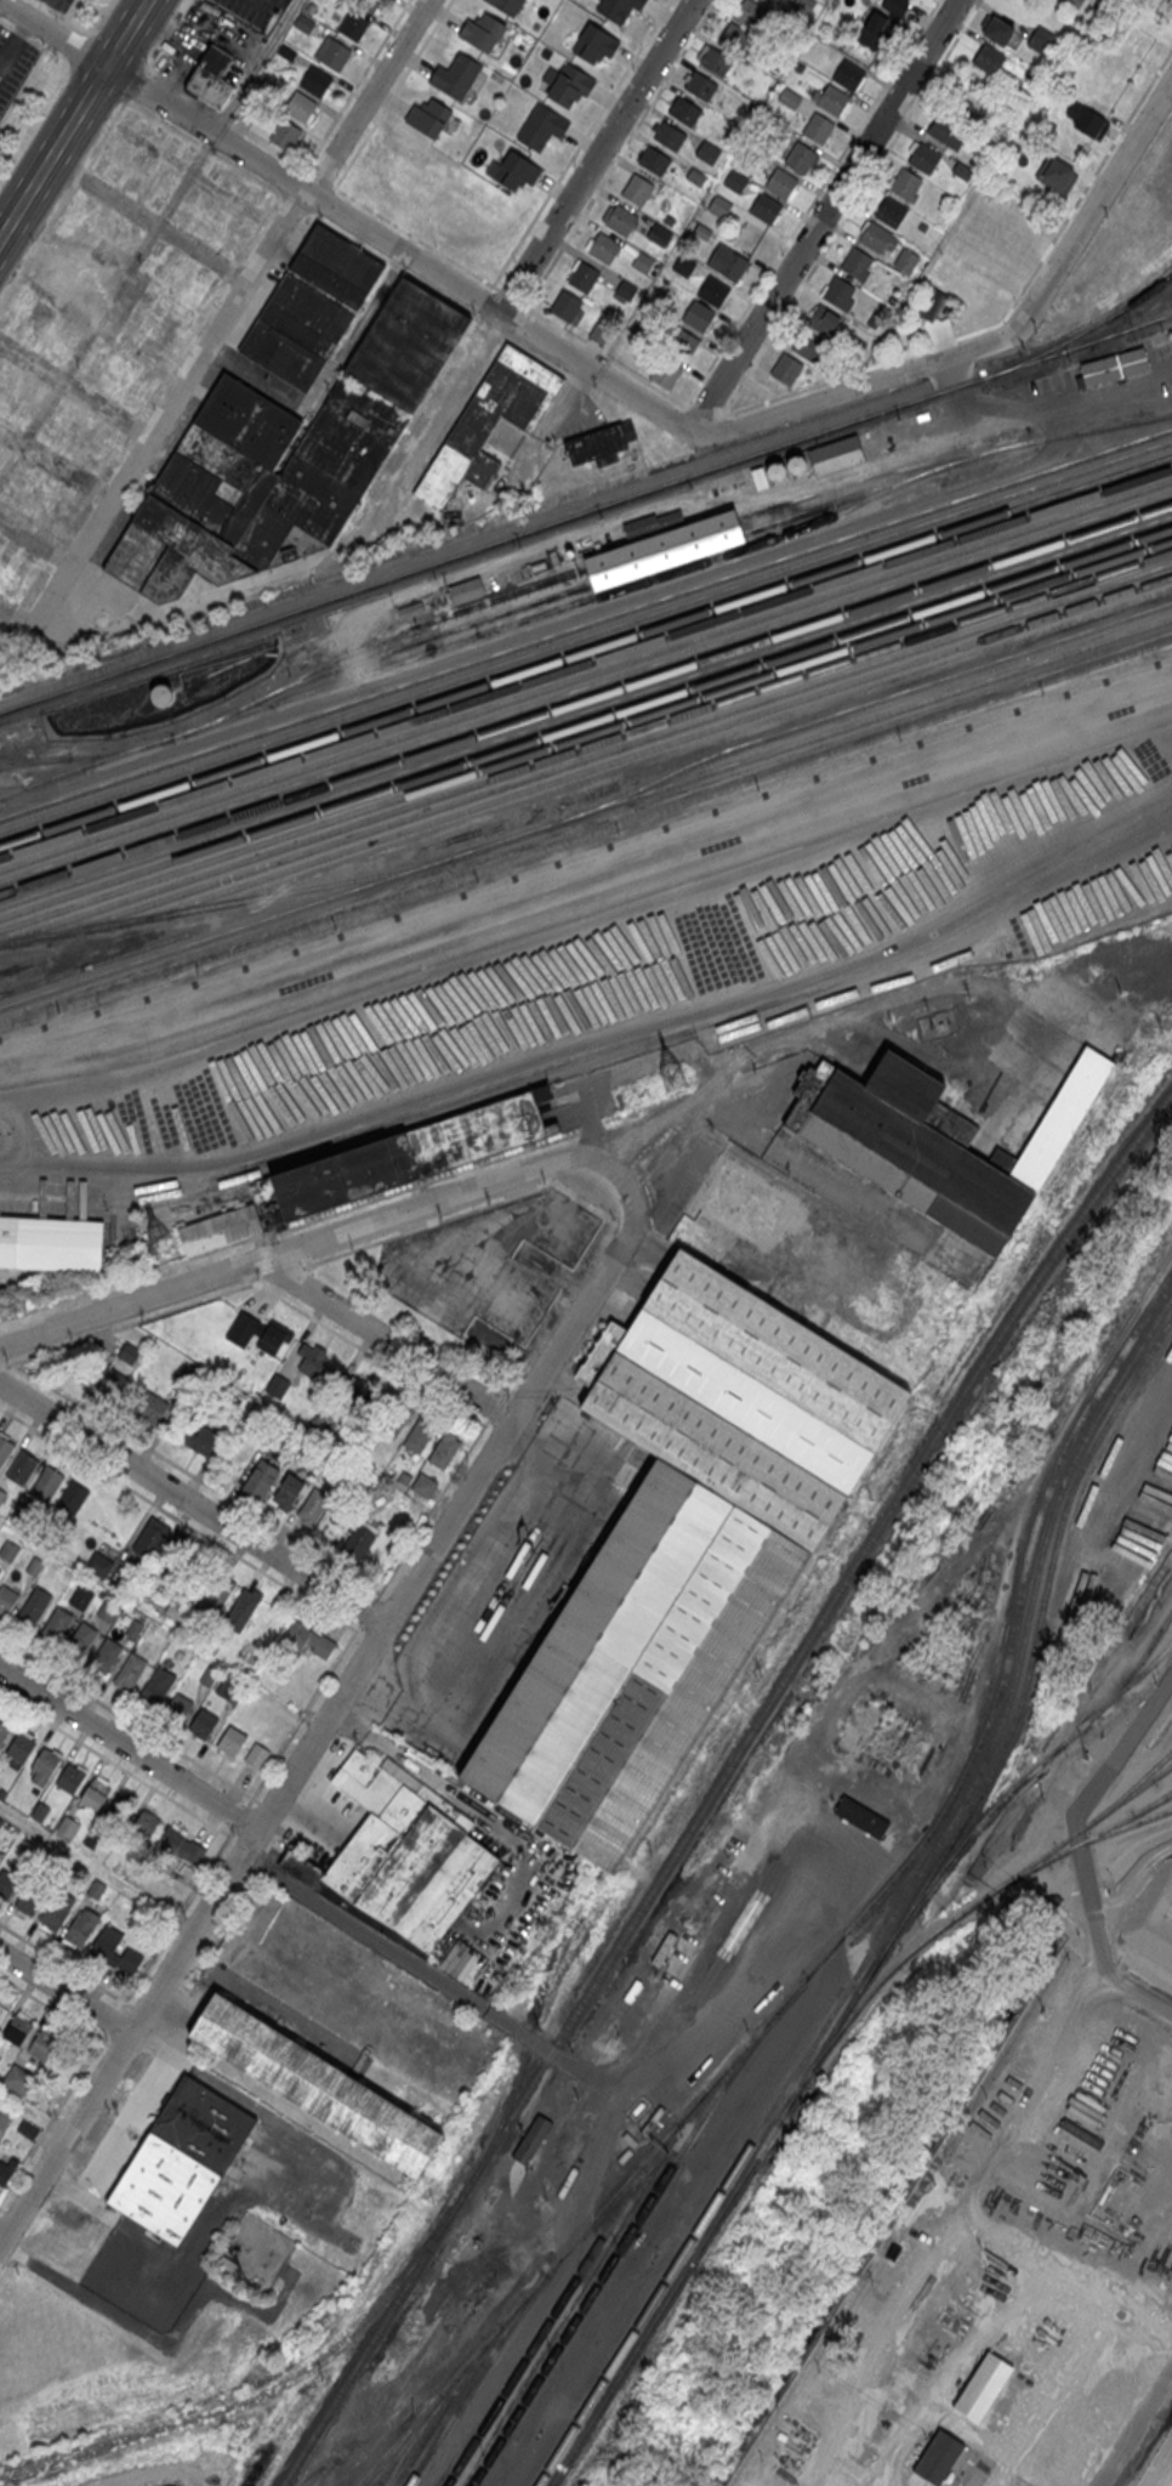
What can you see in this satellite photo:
building: (330, 0)
building: (768, 0)
building: (1073, 2)
parking lot: (59, 5)
building: (506, 5)
building: (804, 5)
building: (618, 7)
road: (50, 8)
road: (68, 11)
parking lot: (255, 11)
building: (749, 12)
road: (284, 18)
building: (884, 18)
building: (305, 22)
building: (353, 24)
building: (996, 28)
building: (482, 30)
road: (55, 33)
road: (22, 34)
road: (165, 35)
building: (735, 36)
building: (1041, 39)
building: (596, 44)
building: (285, 51)
building: (332, 52)
road: (131, 56)
building: (716, 59)
building: (989, 59)
parking lot: (15, 63)
building: (800, 66)
building: (849, 74)
building: (455, 75)
building: (211, 76)
building: (315, 80)
road: (24, 83)
road: (133, 84)
building: (569, 84)
road: (355, 85)
building: (700, 86)
road: (391, 95)
building: (790, 97)
building: (831, 97)
building: (957, 101)
building: (298, 104)
building: (684, 110)
road: (226, 117)
building: (428, 117)
road: (74, 119)
building: (1086, 120)
building: (542, 125)
building: (819, 127)
road: (215, 131)
building: (948, 131)
road: (104, 132)
building: (285, 134)
building: (669, 136)
road: (581, 142)
road: (620, 152)
building: (707, 152)
building: (800, 155)
building: (924, 157)
building: (654, 159)
building: (962, 170)
building: (517, 171)
building: (1056, 174)
road: (78, 175)
road: (298, 175)
building: (698, 175)
road: (320, 176)
building: (735, 181)
building: (781, 182)
building: (904, 182)
building: (235, 183)
building: (636, 188)
road: (324, 203)
road: (810, 204)
building: (719, 205)
road: (852, 205)
building: (764, 206)
road: (1092, 209)
building: (892, 211)
road: (348, 214)
road: (825, 214)
building: (621, 220)
building: (667, 220)
road: (152, 222)
building: (221, 226)
building: (702, 231)
building: (659, 233)
building: (749, 234)
road: (415, 237)
building: (880, 237)
road: (36, 244)
building: (604, 248)
building: (906, 260)
building: (727, 261)
building: (643, 262)
building: (857, 262)
building: (684, 263)
building: (166, 266)
building: (336, 266)
building: (69, 276)
building: (582, 277)
road: (519, 280)
building: (626, 288)
building: (713, 290)
building: (840, 293)
road: (510, 296)
road: (245, 300)
building: (931, 301)
building: (565, 303)
road: (1009, 310)
building: (698, 313)
building: (824, 318)
building: (637, 324)
railway: (1116, 329)
building: (295, 331)
building: (599, 331)
railway: (1082, 333)
building: (681, 342)
building: (408, 344)
building: (807, 344)
road: (604, 353)
building: (95, 362)
building: (1114, 367)
building: (786, 368)
road: (329, 373)
building: (665, 373)
road: (206, 388)
road: (849, 390)
road: (78, 392)
road: (571, 396)
building: (27, 404)
road: (706, 409)
road: (681, 414)
building: (489, 421)
building: (102, 439)
building: (601, 444)
building: (837, 454)
railway: (952, 455)
road: (57, 464)
building: (796, 465)
building: (769, 473)
railway: (888, 483)
building: (40, 484)
building: (252, 487)
railway: (585, 511)
road: (630, 512)
building: (650, 522)
road: (478, 540)
road: (35, 545)
building: (665, 550)
road: (80, 586)
building: (466, 589)
road: (613, 602)
road: (194, 607)
building: (411, 608)
railway: (586, 624)
road: (32, 625)
railway: (586, 635)
railway: (474, 636)
railway: (380, 637)
railway: (422, 638)
railway: (586, 649)
railway: (586, 662)
railway: (586, 675)
railway: (586, 687)
building: (161, 694)
railway: (586, 697)
railway: (869, 703)
railway: (586, 710)
railway: (586, 723)
railway: (586, 734)
railway: (586, 747)
railway: (603, 751)
railway: (642, 753)
railway: (86, 755)
railway: (34, 760)
railway: (586, 812)
railway: (586, 833)
railway: (587, 852)
railway: (586, 869)
railway: (588, 887)
railway: (226, 901)
railway: (588, 904)
railway: (95, 963)
road: (891, 1005)
railway: (607, 1054)
power tower: (676, 1078)
building: (962, 1128)
road: (654, 1131)
building: (410, 1153)
building: (746, 1204)
building: (220, 1231)
road: (314, 1242)
building: (53, 1243)
power tower: (159, 1244)
road: (295, 1267)
parking lot: (562, 1300)
building: (255, 1332)
road: (385, 1340)
road: (370, 1352)
building: (129, 1353)
building: (311, 1361)
building: (107, 1380)
building: (357, 1390)
building: (746, 1400)
building: (149, 1407)
building: (393, 1418)
building: (420, 1434)
building: (198, 1437)
building: (5, 1448)
building: (444, 1451)
building: (22, 1466)
road: (197, 1477)
building: (261, 1478)
building: (46, 1482)
building: (425, 1486)
building: (286, 1491)
building: (1, 1494)
building: (72, 1498)
road: (193, 1502)
building: (312, 1505)
road: (177, 1519)
building: (150, 1536)
building: (358, 1542)
building: (8, 1549)
building: (177, 1551)
building: (98, 1563)
building: (0, 1572)
building: (216, 1595)
building: (6, 1597)
building: (81, 1597)
building: (33, 1606)
building: (240, 1610)
building: (107, 1611)
building: (56, 1624)
building: (135, 1628)
building: (80, 1640)
building: (309, 1641)
building: (104, 1656)
building: (636, 1665)
building: (130, 1670)
railway: (1130, 1674)
building: (157, 1685)
building: (177, 1707)
road: (130, 1719)
building: (203, 1721)
road: (324, 1721)
building: (2, 1730)
road: (1133, 1733)
building: (231, 1739)
road: (129, 1744)
building: (22, 1747)
building: (256, 1754)
building: (44, 1765)
road: (124, 1767)
railway: (1154, 1772)
building: (70, 1778)
railway: (1024, 1778)
railway: (717, 1783)
building: (95, 1793)
road: (264, 1804)
road: (246, 1805)
building: (120, 1810)
building: (861, 1818)
building: (144, 1824)
building: (68, 1826)
building: (169, 1839)
building: (399, 1858)
road: (97, 1867)
building: (6, 1885)
building: (25, 1902)
railway: (969, 1906)
railway: (895, 1909)
building: (56, 1912)
railway: (903, 1920)
building: (81, 1926)
railway: (848, 1928)
building: (106, 1942)
building: (664, 1948)
road: (62, 1962)
building: (129, 1962)
road: (417, 1966)
road: (64, 1991)
road: (739, 2004)
road: (51, 2007)
railway: (529, 2026)
building: (17, 2031)
building: (42, 2045)
building: (17, 2078)
building: (318, 2083)
building: (4, 2115)
building: (206, 2124)
building: (28, 2128)
building: (533, 2139)
building: (256, 2161)
building: (6, 2169)
road: (7, 2210)
road: (0, 2237)
railway: (618, 2252)
railway: (559, 2303)
railway: (476, 2377)
building: (983, 2386)
railway: (263, 2390)
railway: (445, 2403)
road: (1133, 2425)
railway: (408, 2439)
building: (937, 2458)

